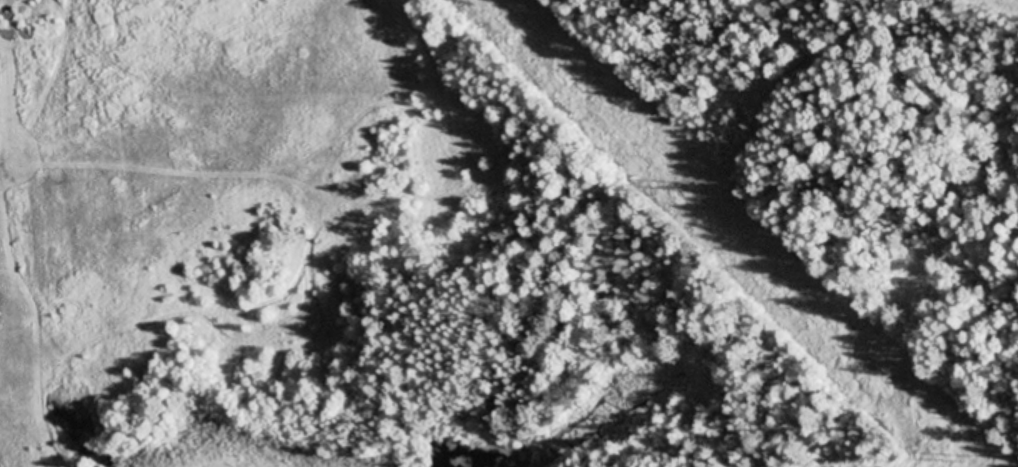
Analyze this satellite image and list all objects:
power tower: (687, 187)
power tower: (965, 460)

